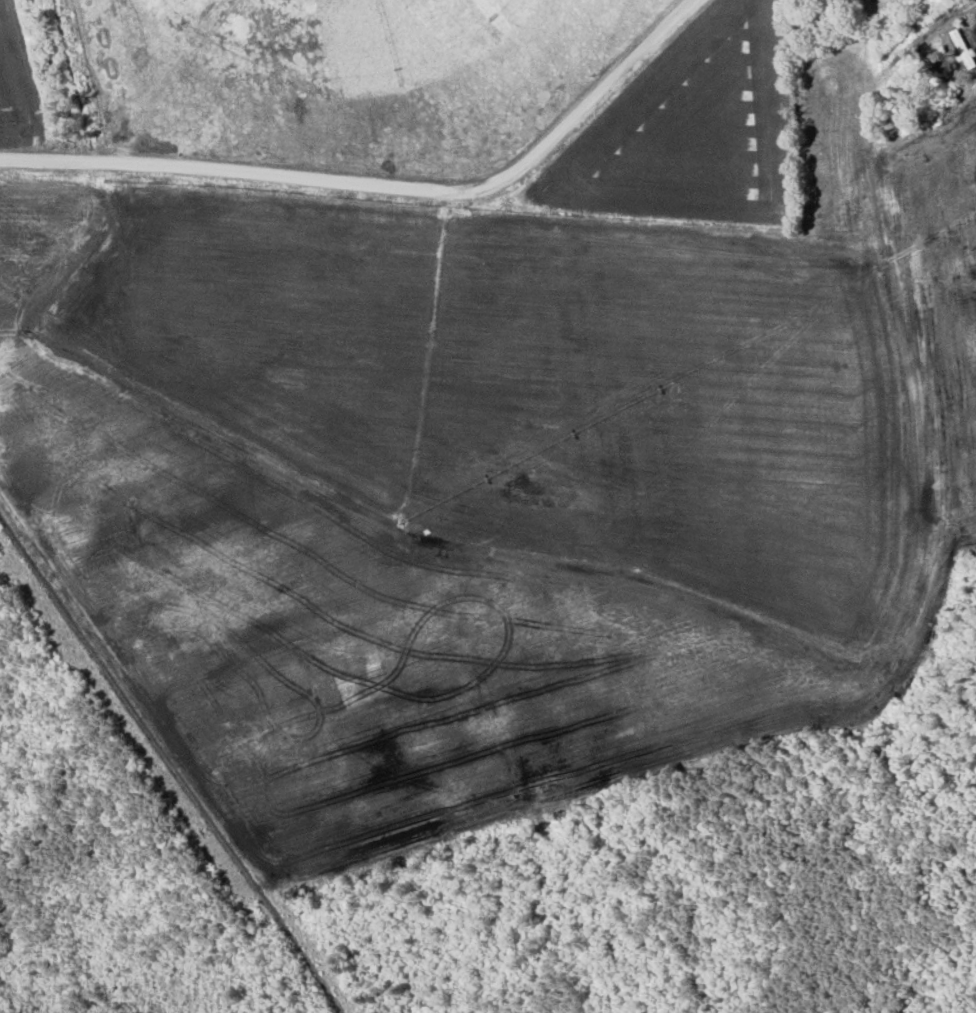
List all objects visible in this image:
road: (382, 187)

